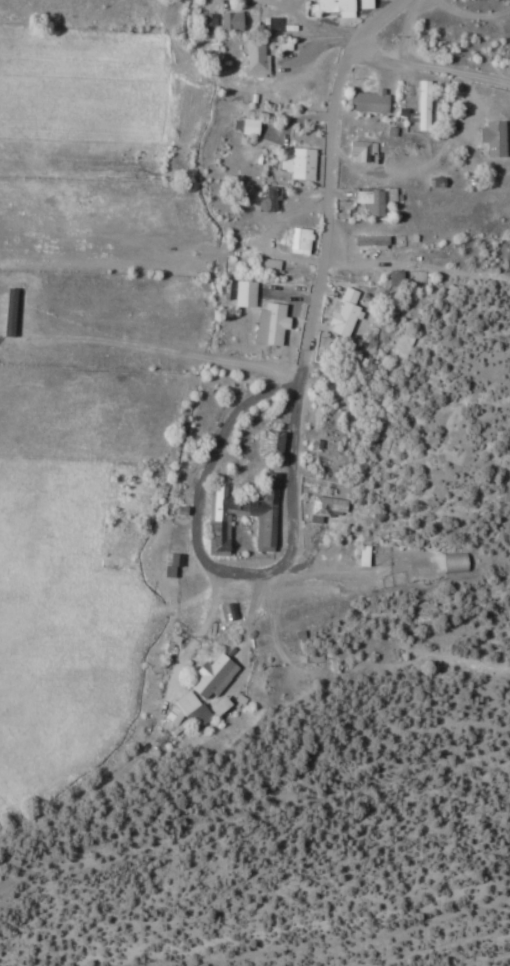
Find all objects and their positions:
building: (332, 7)
building: (228, 21)
building: (203, 24)
building: (253, 57)
road: (431, 62)
building: (368, 101)
building: (421, 105)
building: (243, 126)
building: (492, 139)
building: (358, 151)
building: (296, 164)
building: (369, 202)
building: (297, 241)
building: (369, 241)
building: (265, 266)
road: (314, 301)
building: (343, 312)
building: (268, 323)
building: (269, 445)
building: (240, 509)
building: (325, 509)
building: (453, 563)
building: (210, 677)
building: (217, 705)
building: (197, 716)

